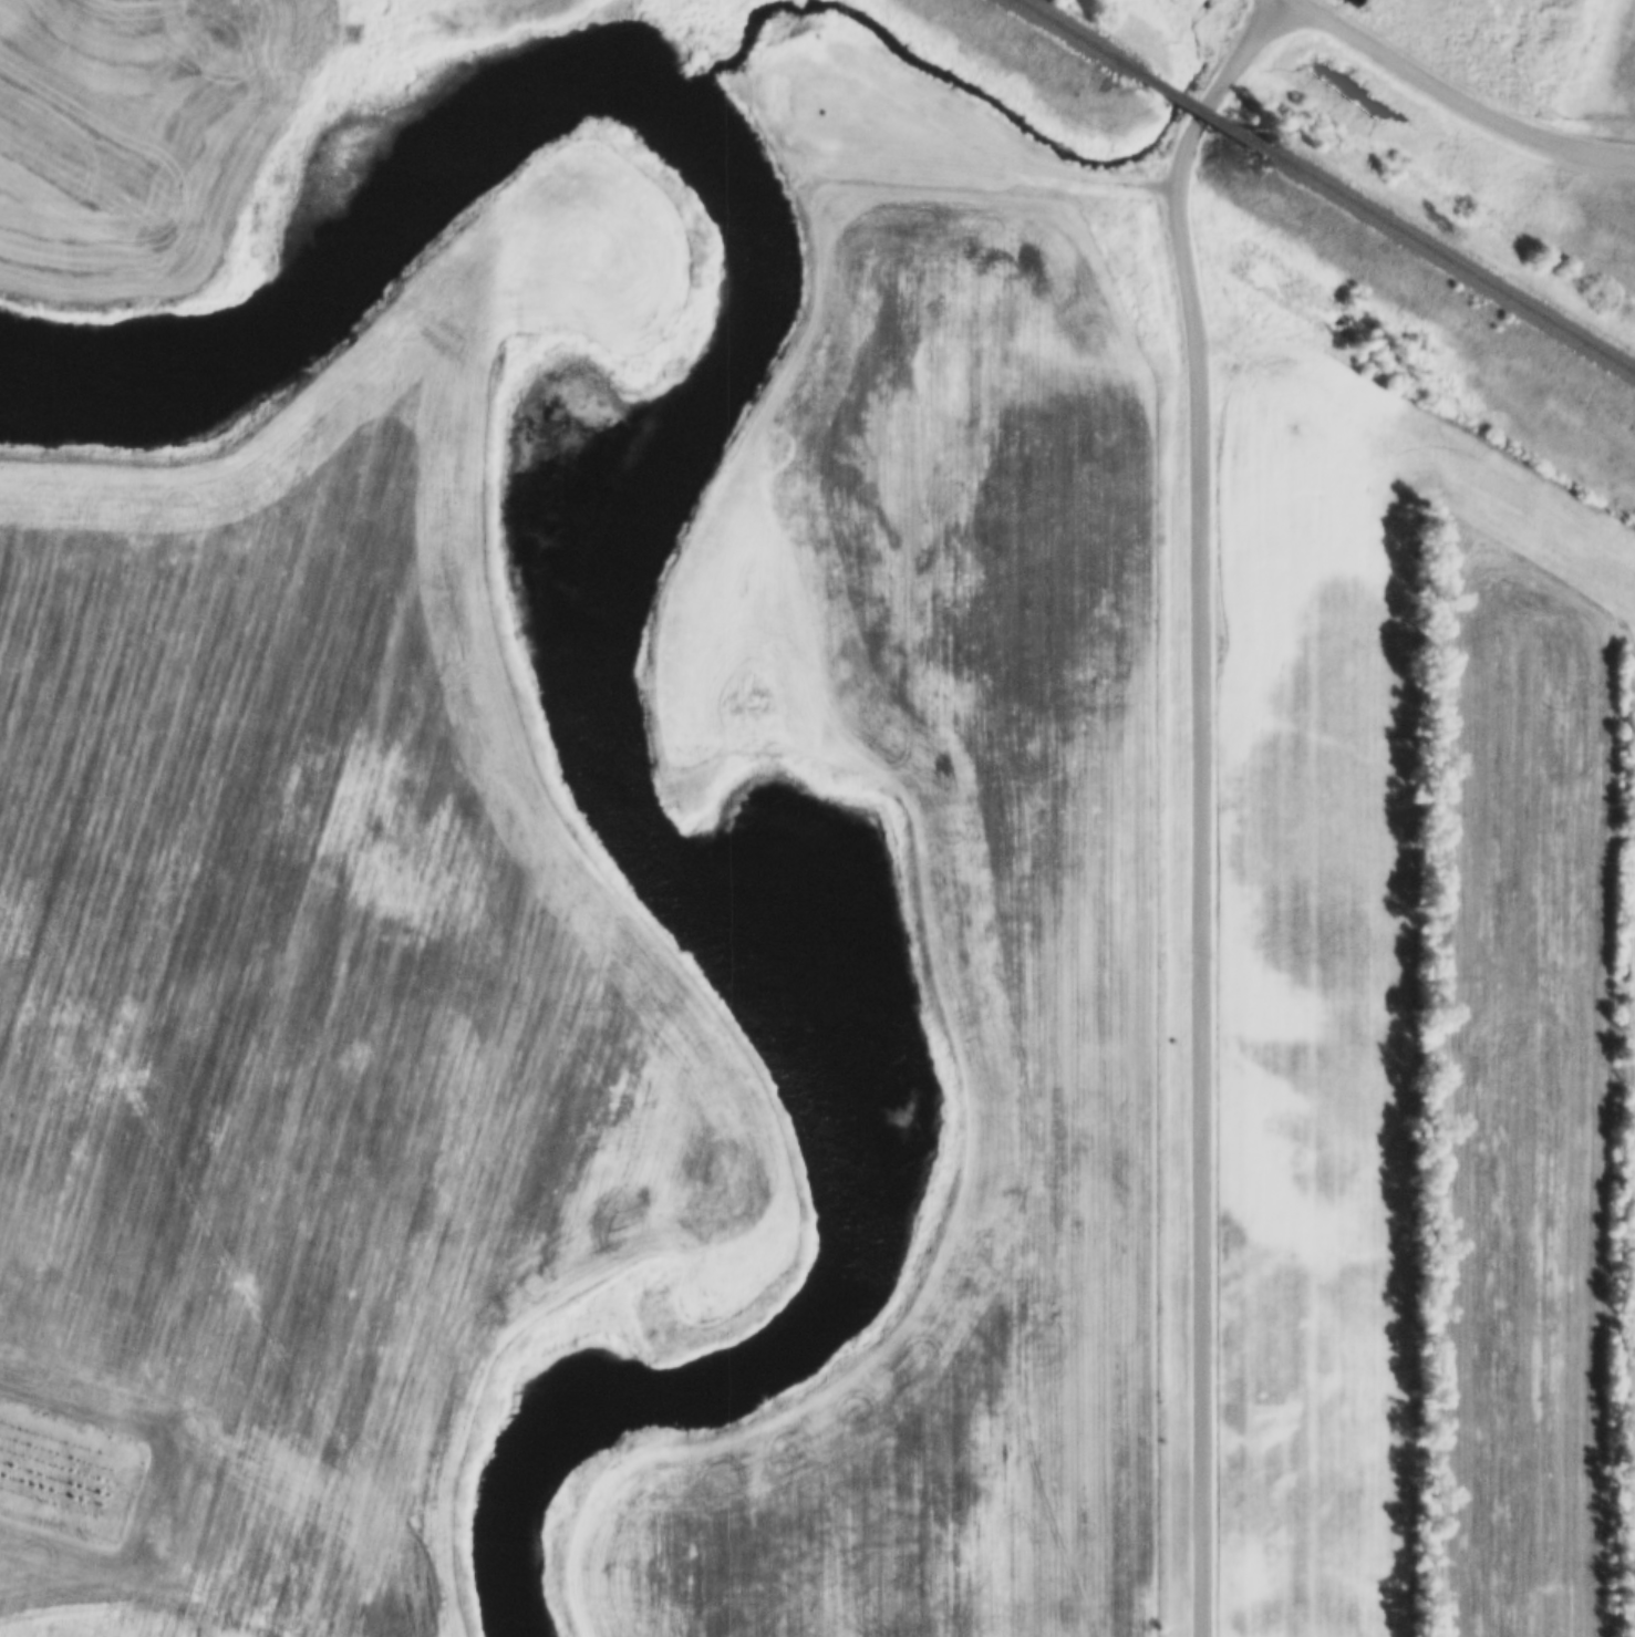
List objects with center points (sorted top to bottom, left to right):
railway: (1051, 38)
road: (1459, 94)
railway: (1177, 113)
railway: (1438, 269)
river: (621, 579)
road: (1200, 802)

